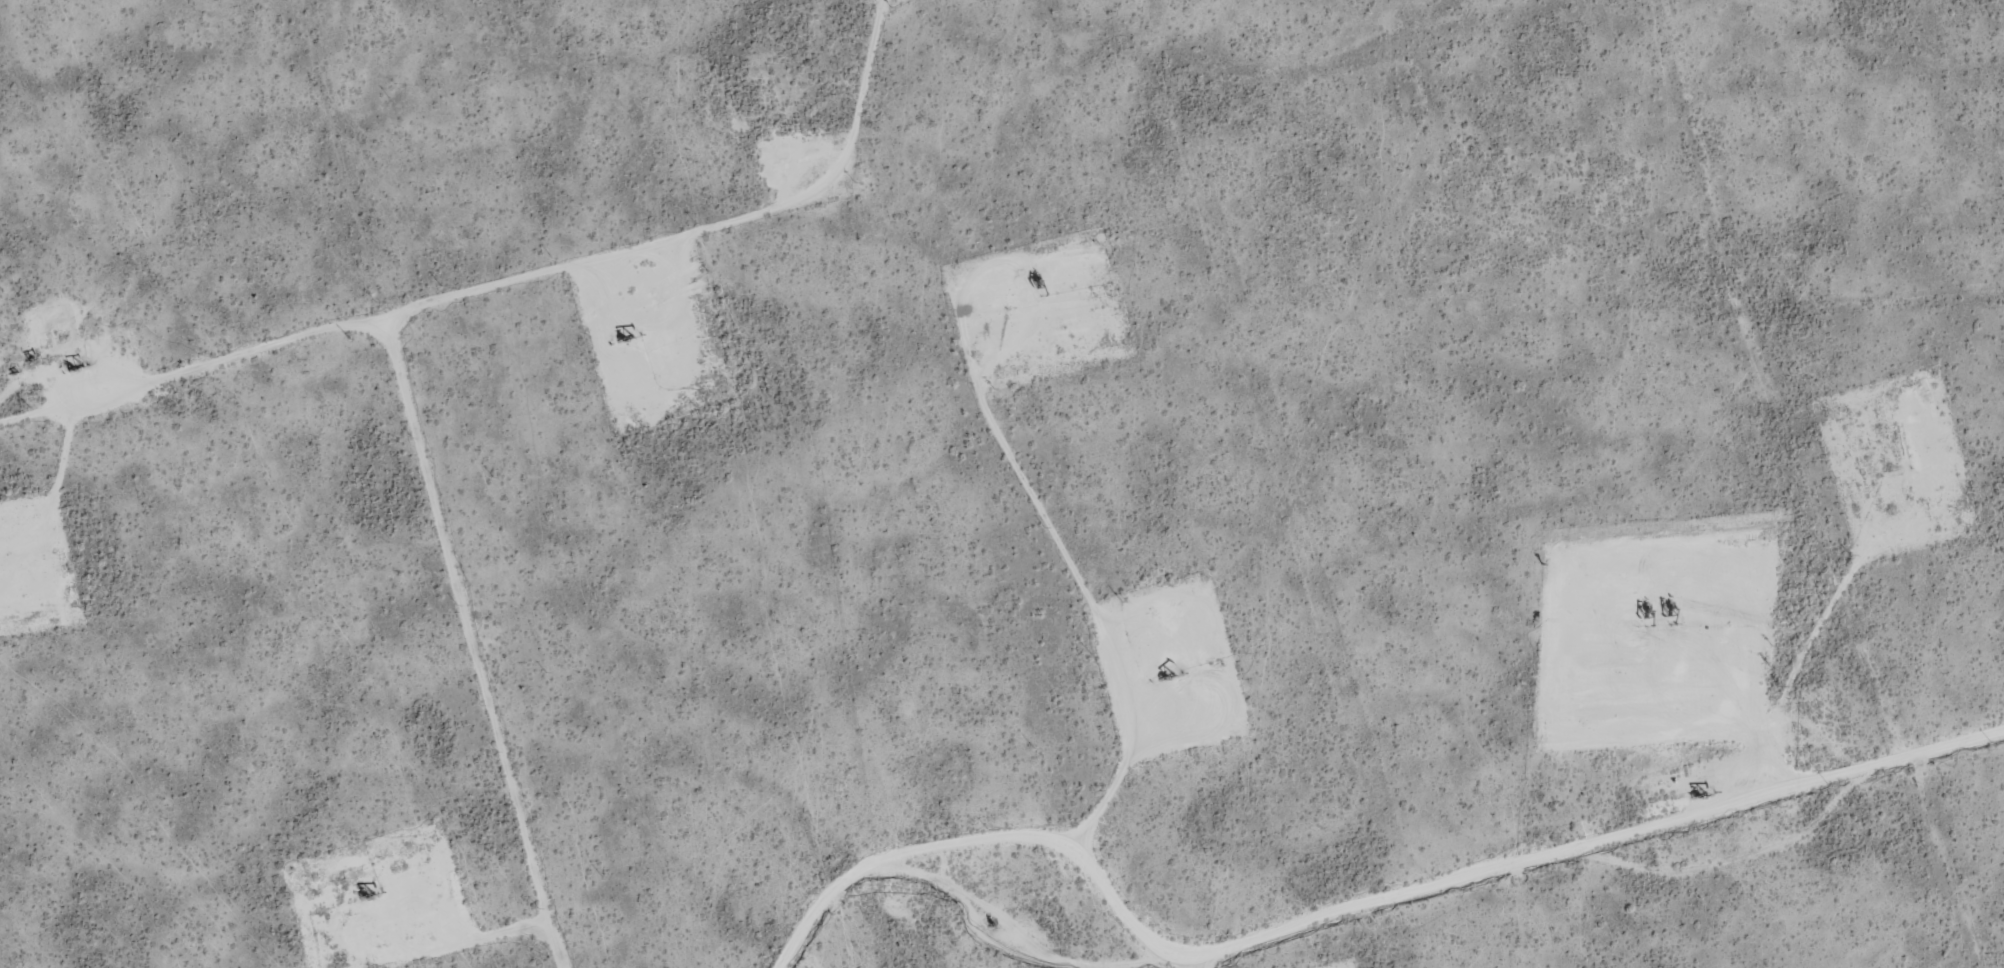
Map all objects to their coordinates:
petroleum well: (1034, 277)
petroleum well: (623, 339)
road: (416, 365)
petroleum well: (1895, 469)
petroleum well: (1645, 609)
road: (505, 663)
petroleum well: (1163, 677)
petroleum well: (1698, 793)
petroleum well: (367, 894)
road: (1342, 901)

